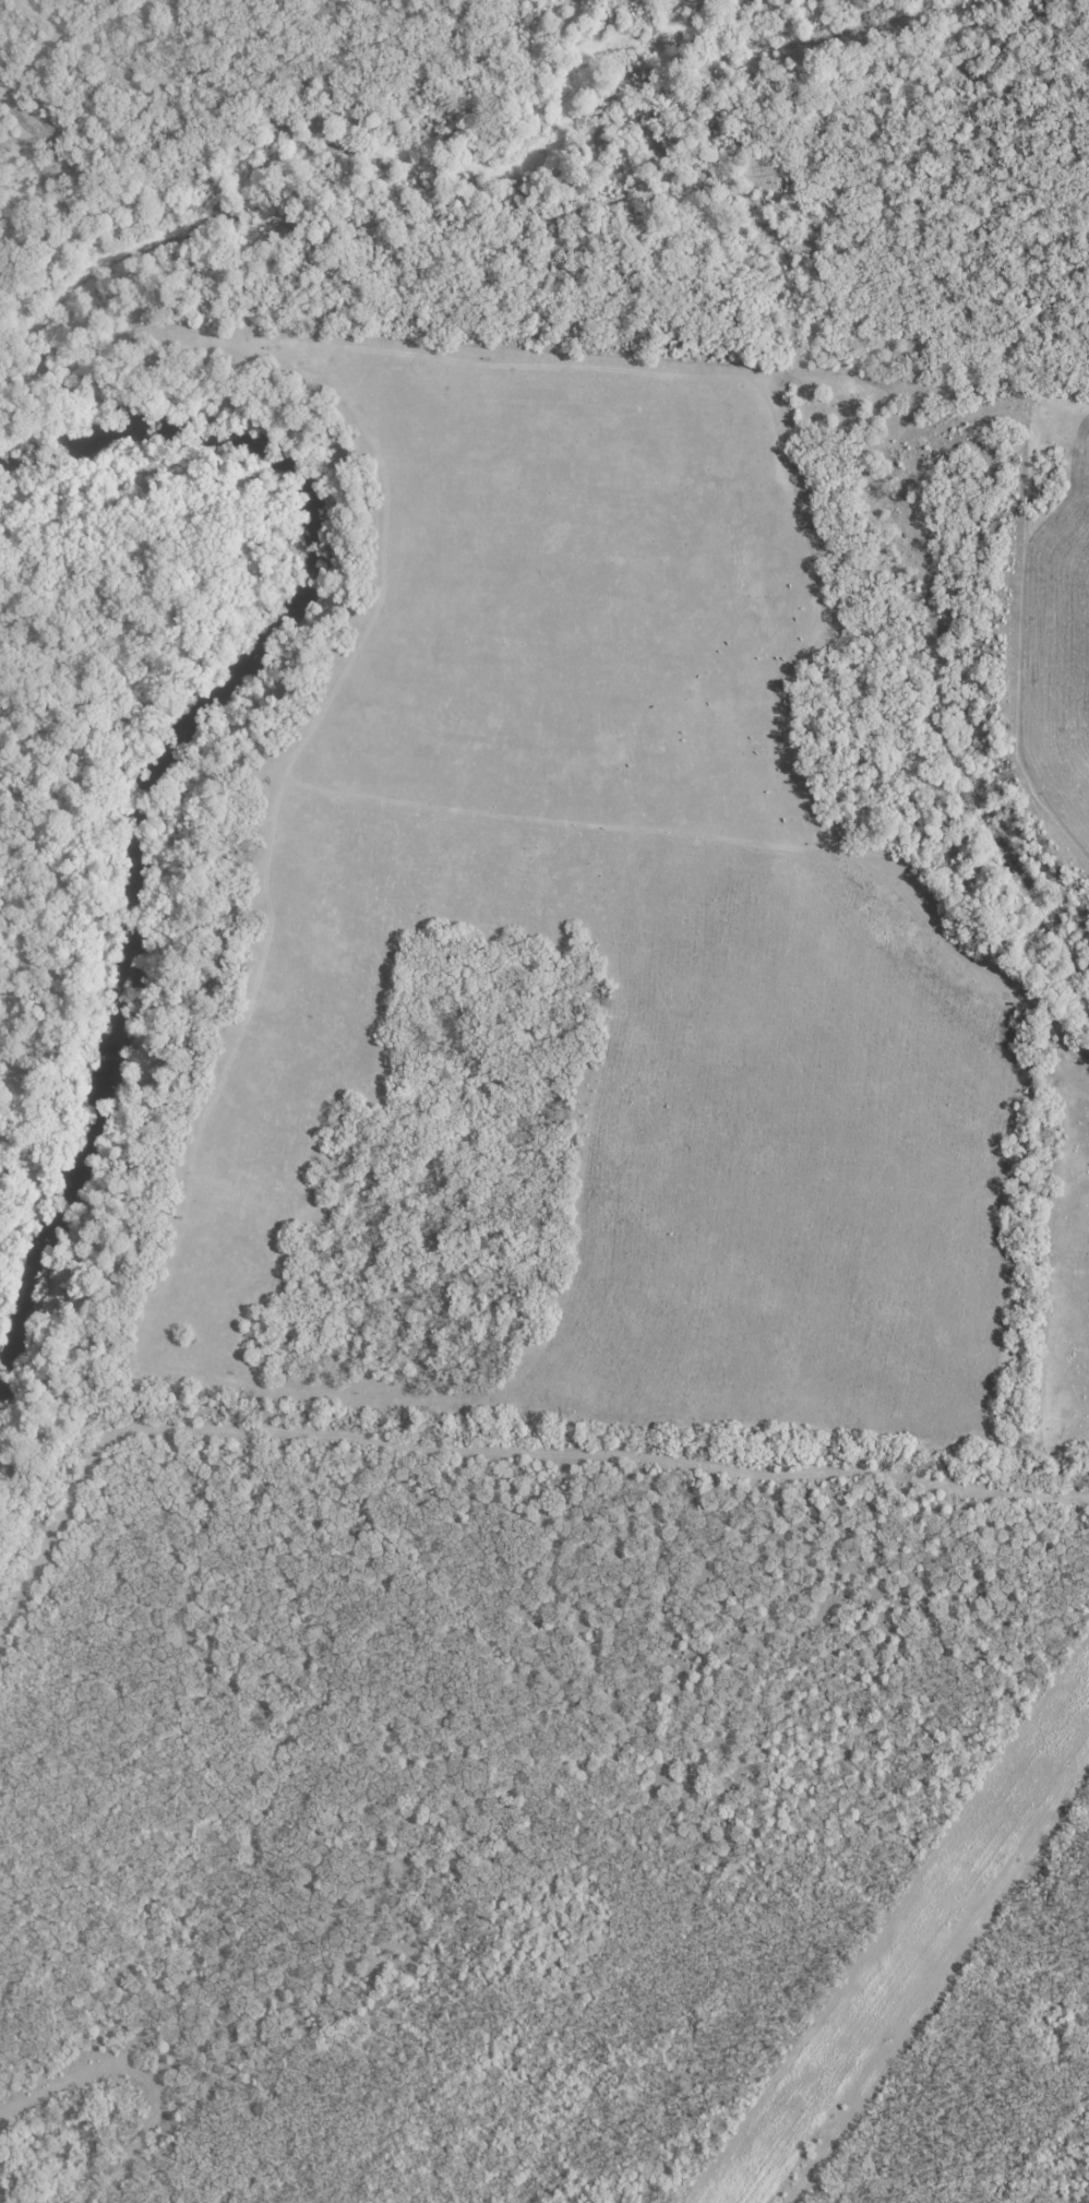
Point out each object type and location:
river: (172, 729)

